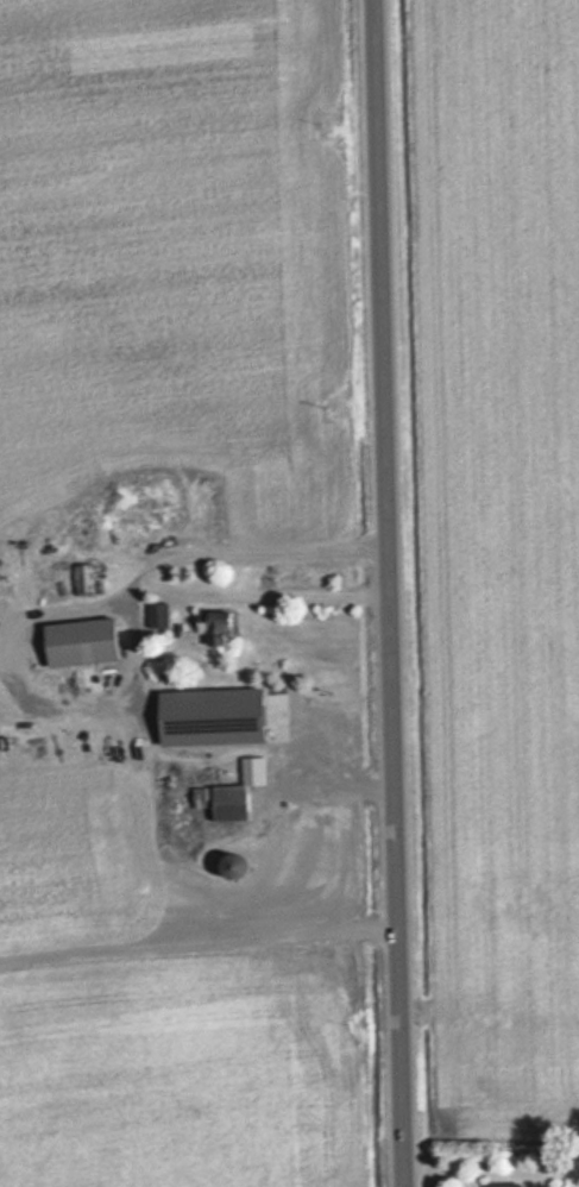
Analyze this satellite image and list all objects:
building: (82, 580)
road: (390, 593)
building: (158, 617)
building: (215, 633)
building: (78, 643)
building: (209, 717)
building: (252, 770)
building: (221, 802)
building: (502, 1185)

